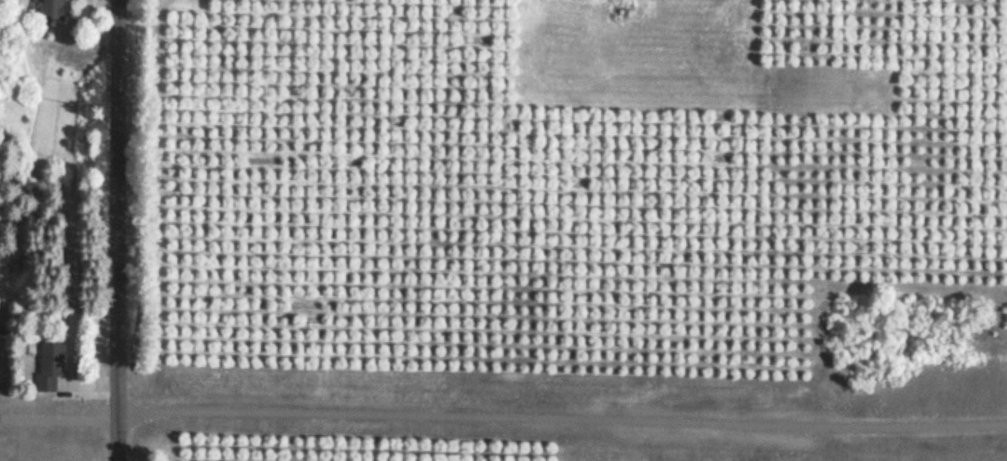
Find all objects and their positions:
building: (49, 9)
road: (119, 230)
building: (48, 362)

